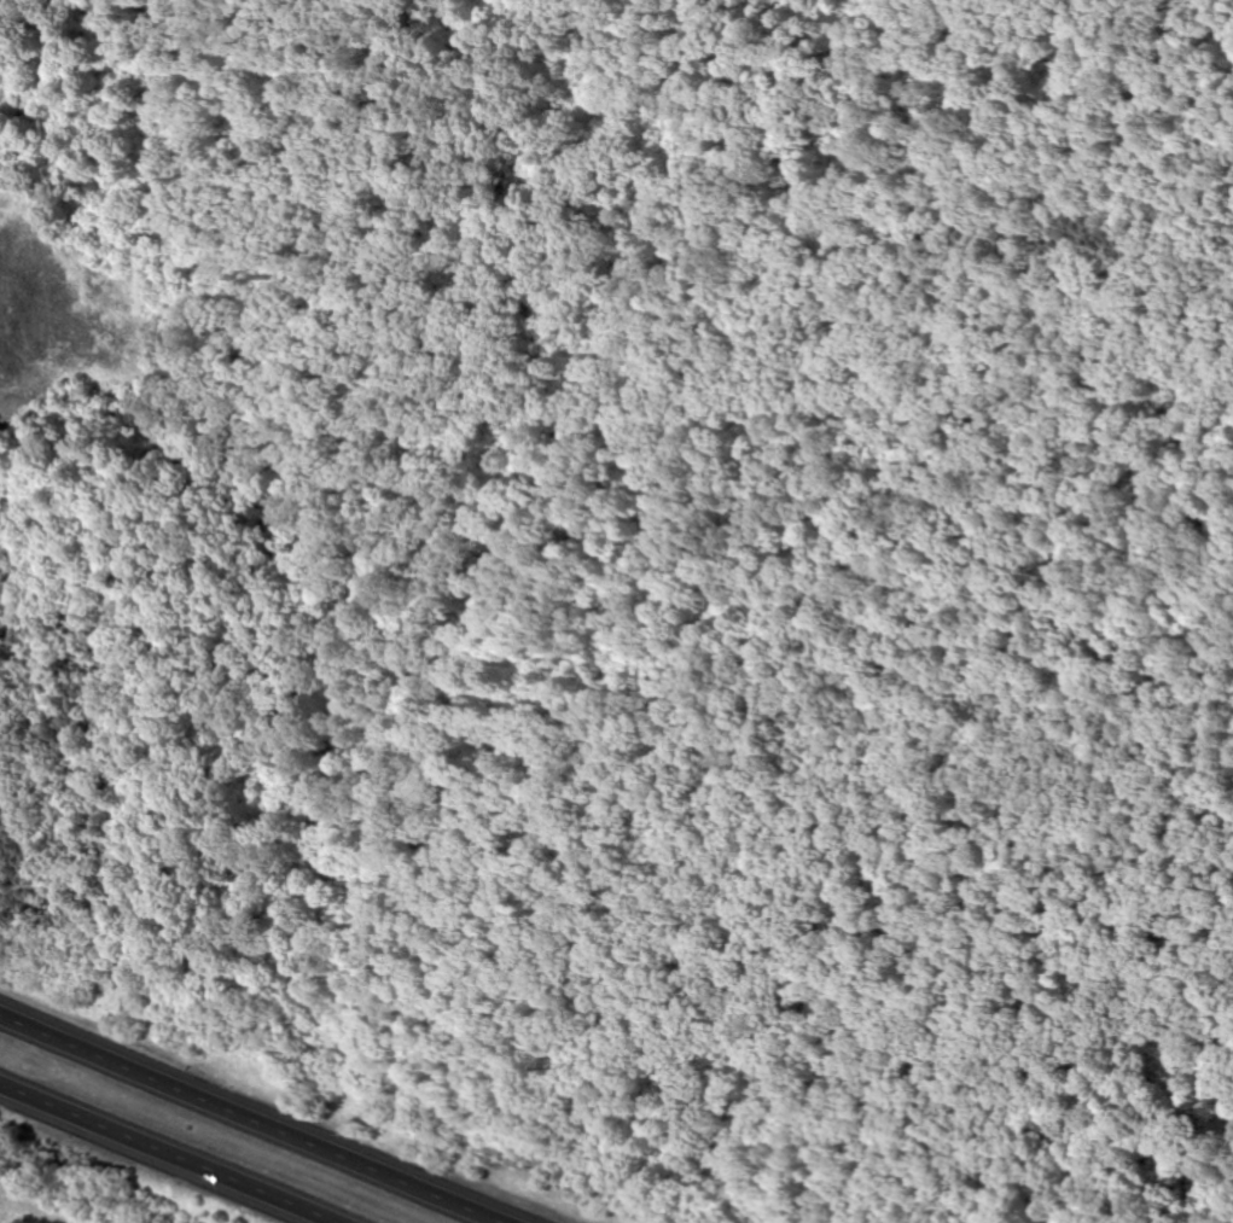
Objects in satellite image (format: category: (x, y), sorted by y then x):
road: (71, 107)
park: (687, 590)
road: (249, 1120)
road: (161, 1157)

